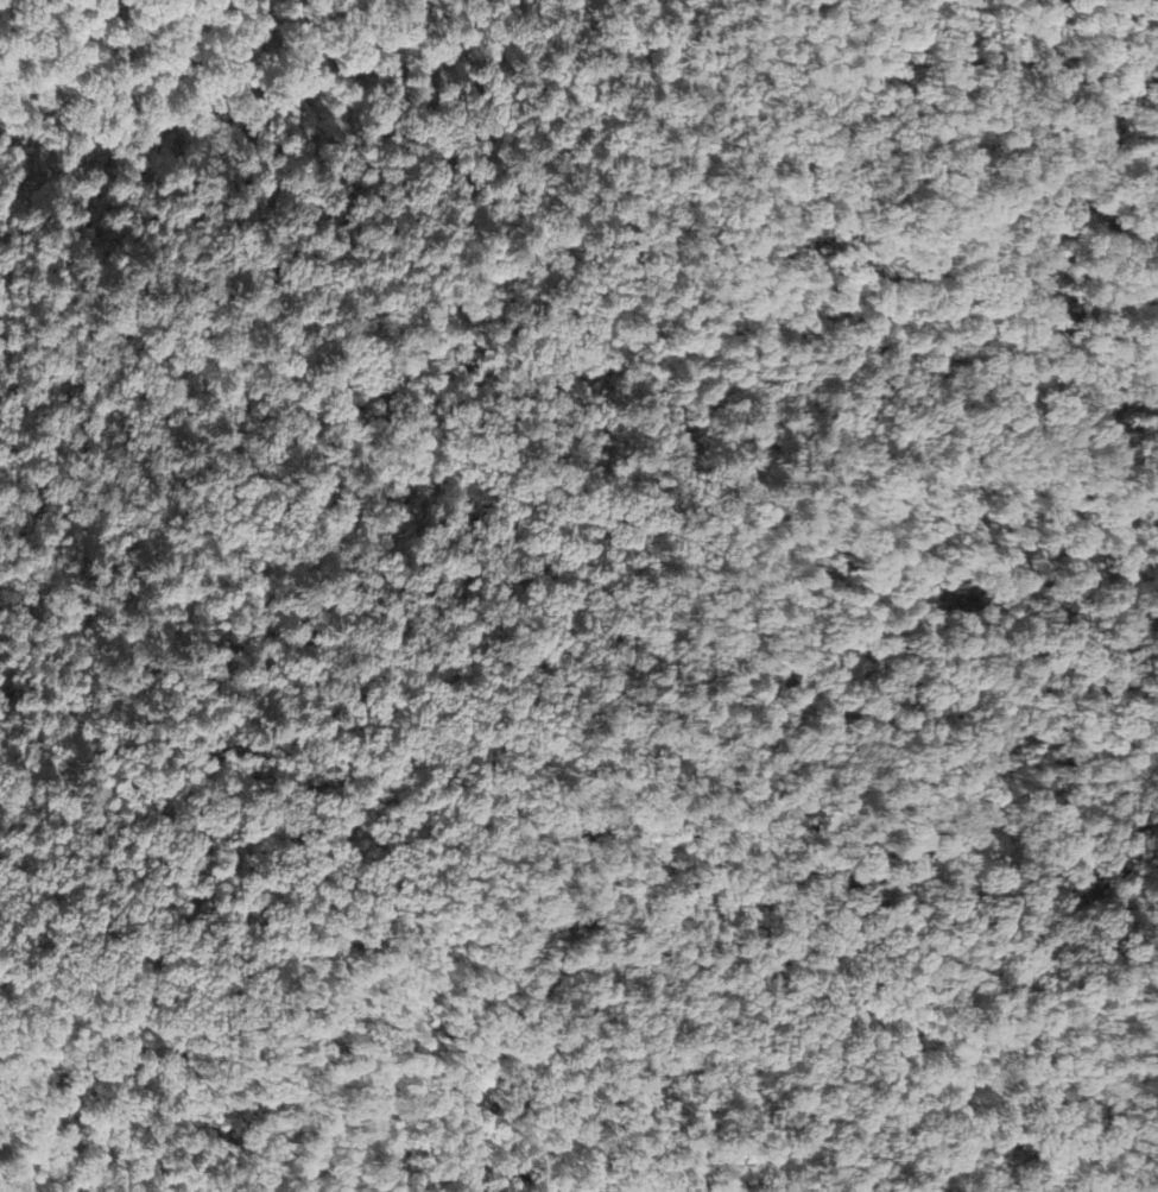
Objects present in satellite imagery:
road: (474, 498)
road: (1030, 788)
road: (94, 1111)
road: (462, 1188)

